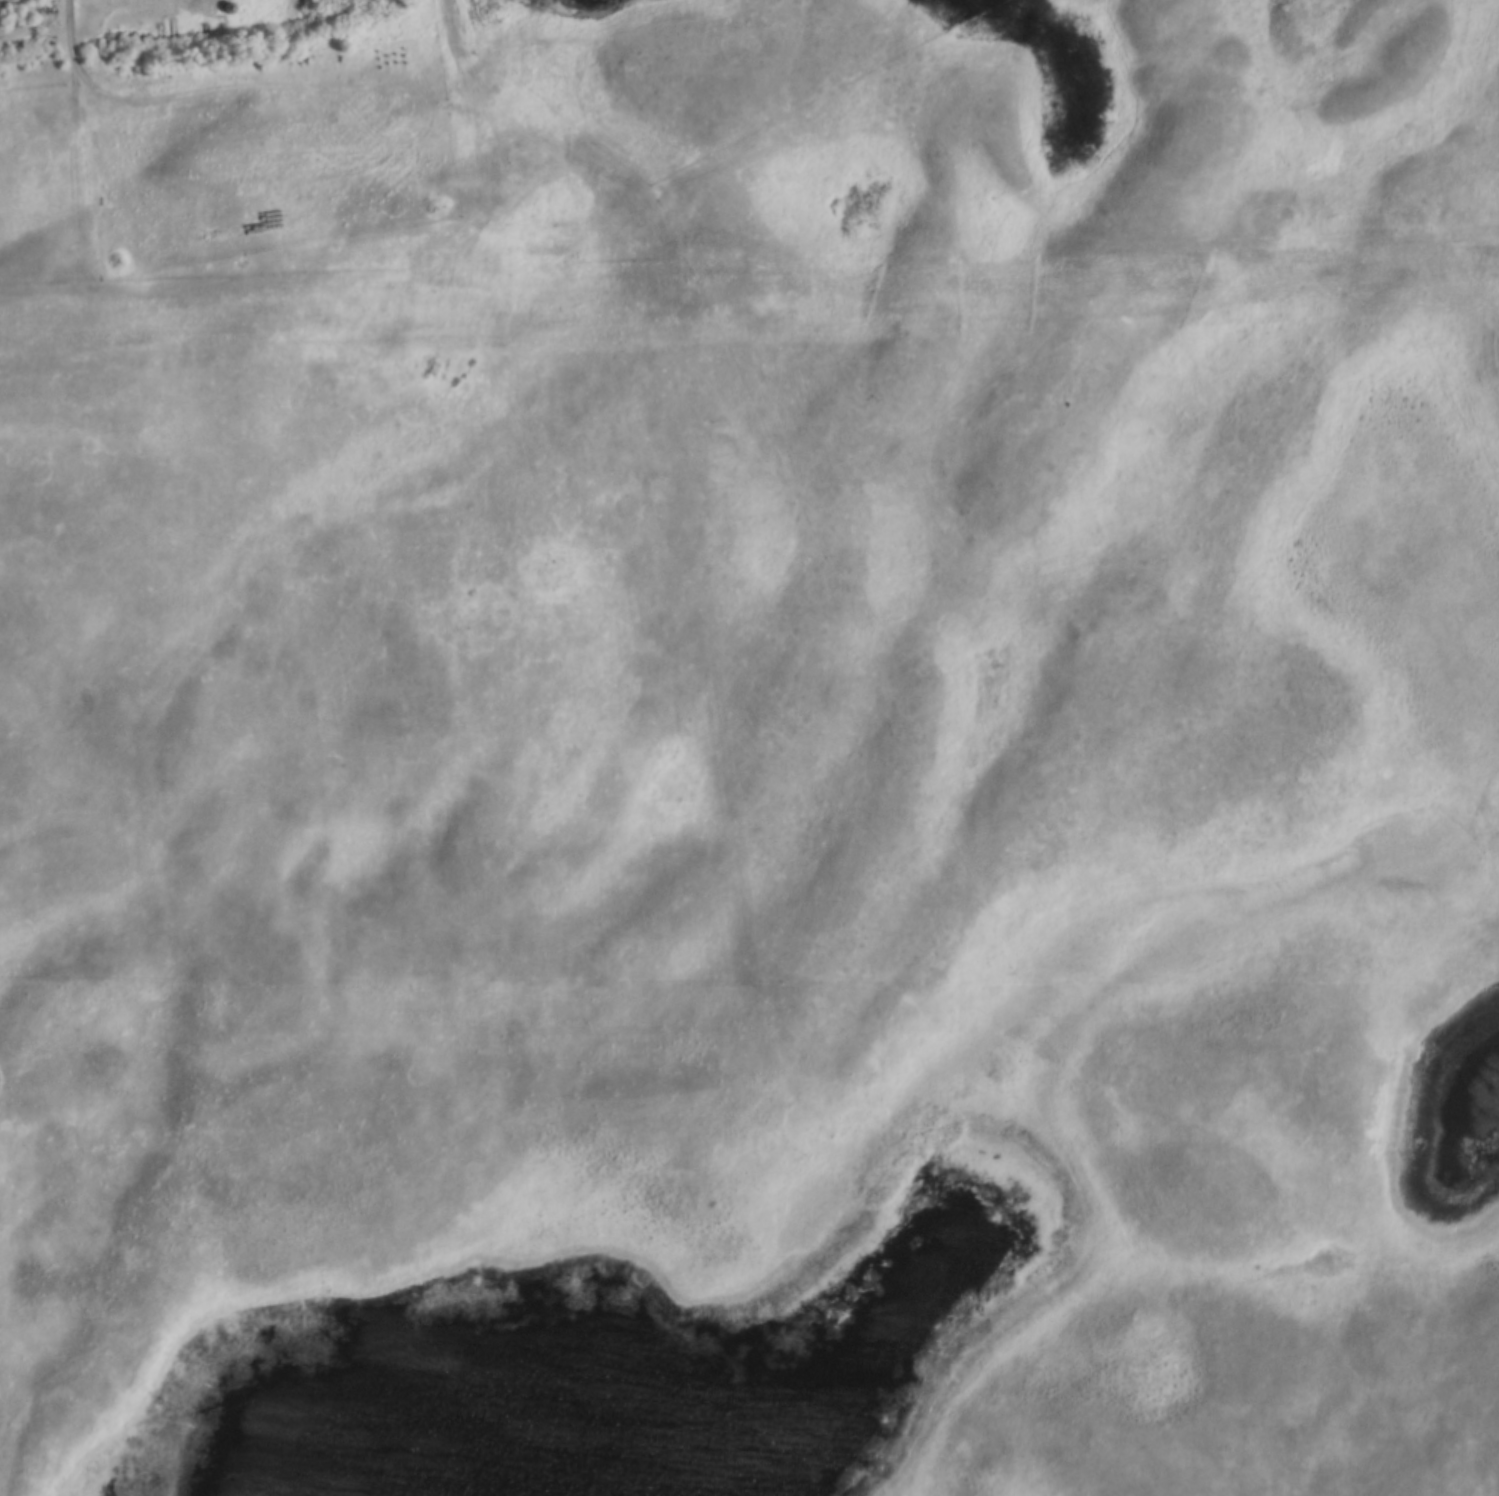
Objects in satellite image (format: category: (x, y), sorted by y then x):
road: (455, 55)
road: (312, 90)

